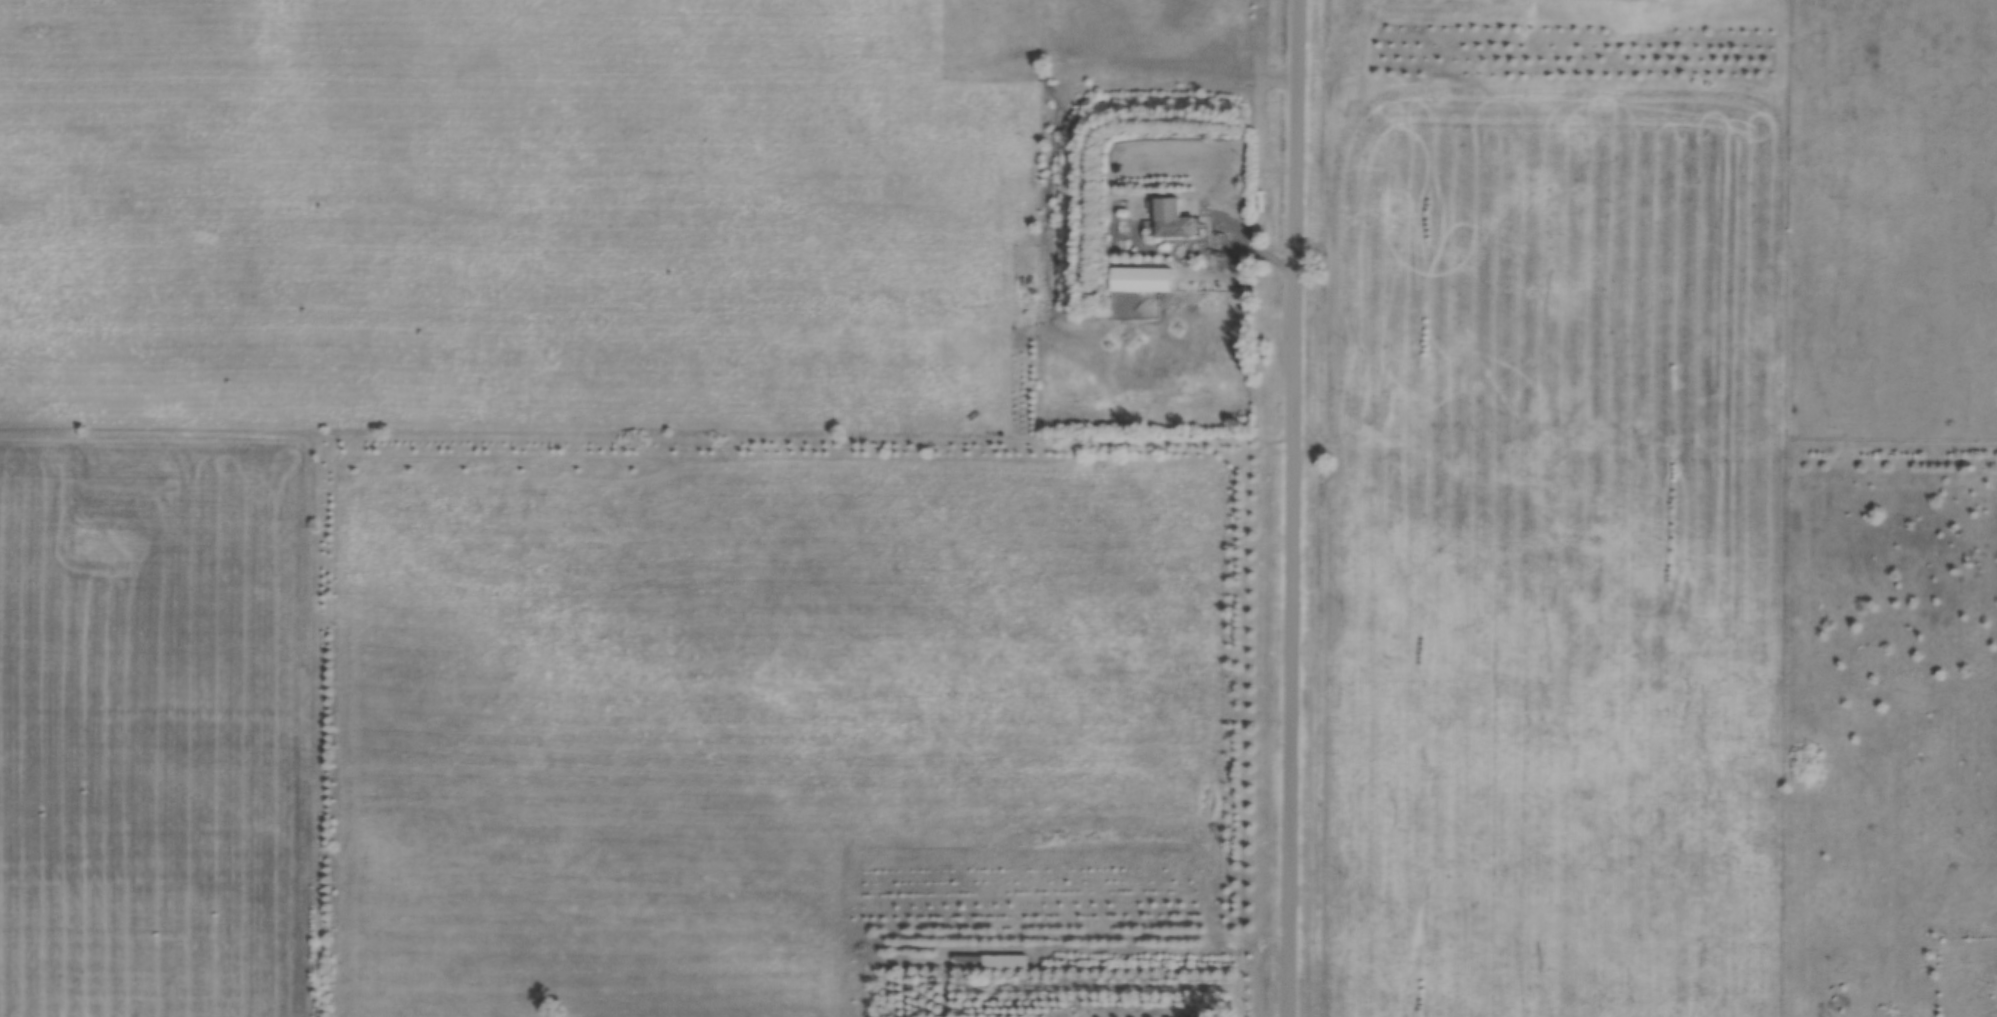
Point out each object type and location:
building: (1172, 218)
building: (1141, 279)
road: (1292, 508)
building: (967, 964)

